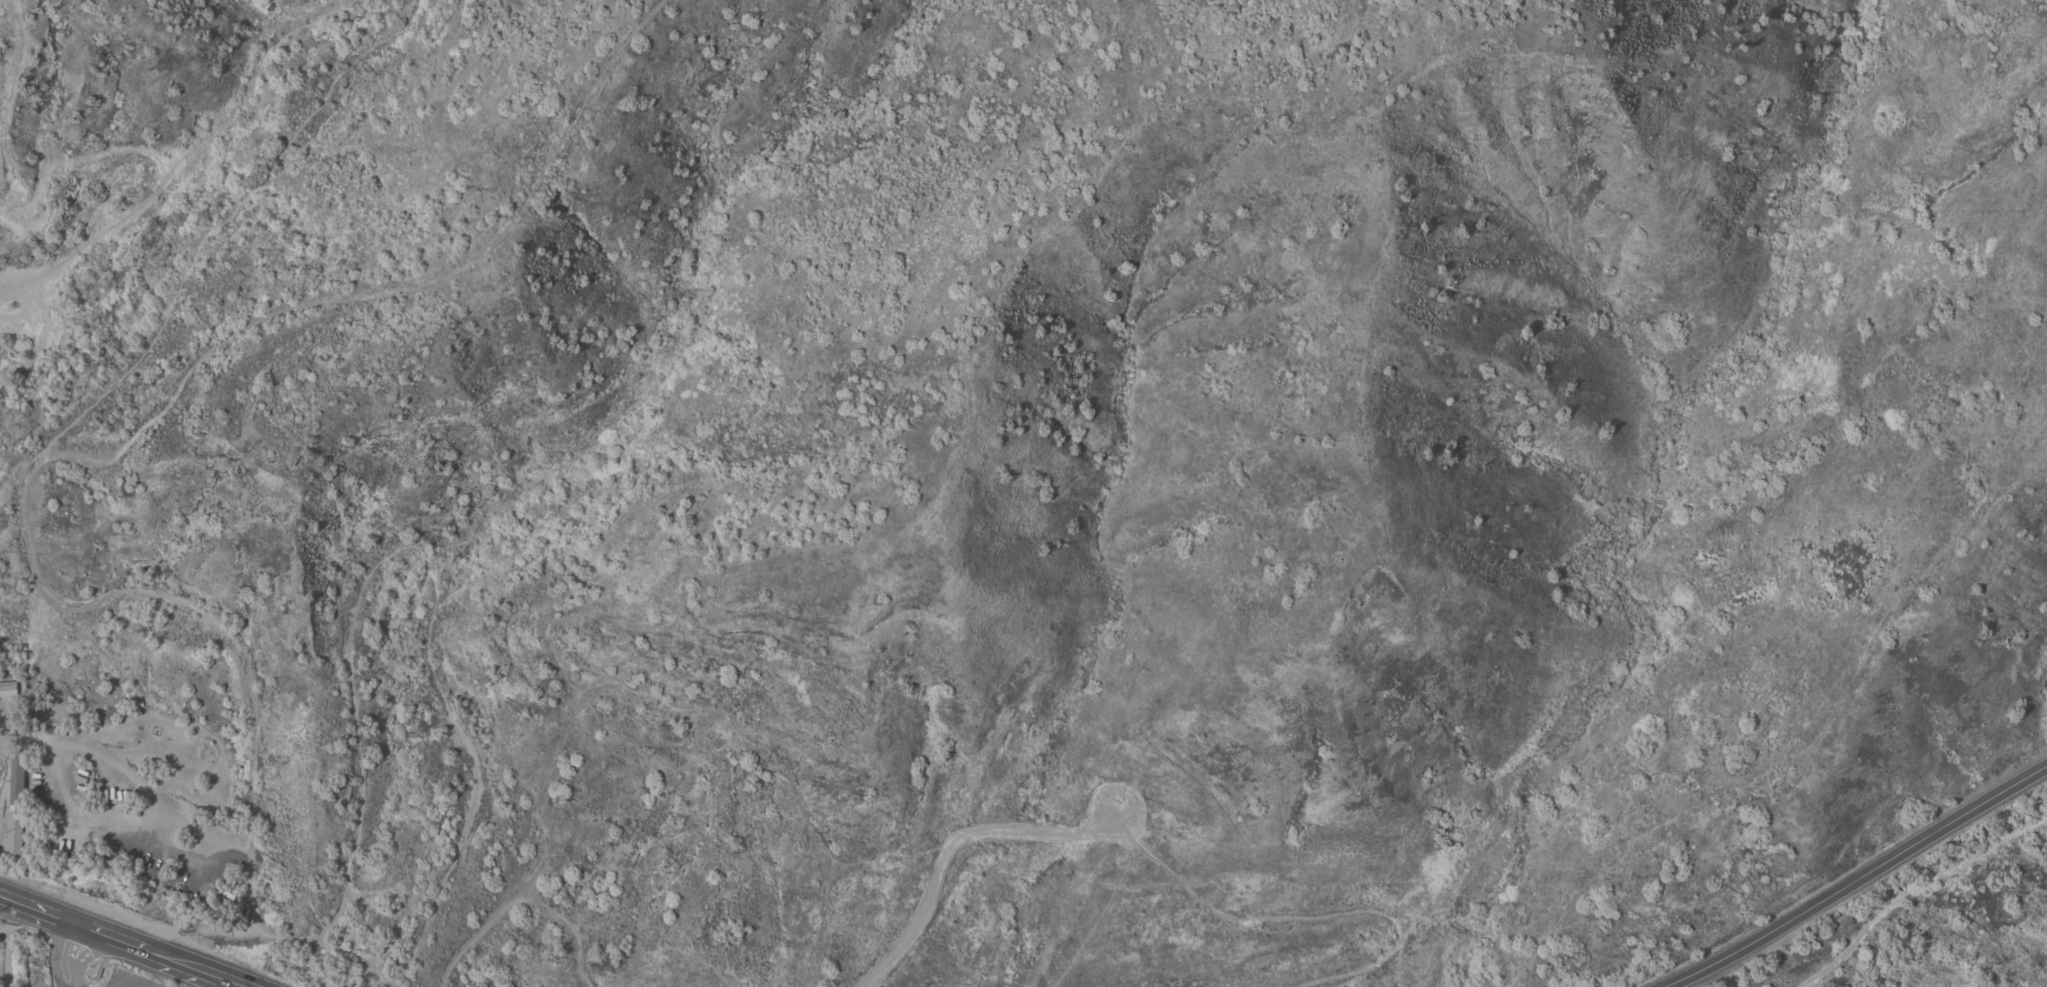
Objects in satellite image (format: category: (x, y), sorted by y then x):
road: (77, 466)
road: (1859, 881)
road: (1913, 890)
road: (1, 930)
road: (131, 938)
road: (26, 946)
road: (60, 950)
road: (4, 958)
park: (53, 967)
parking lot: (70, 981)
parking lot: (115, 983)
road: (63, 985)
road: (124, 985)

